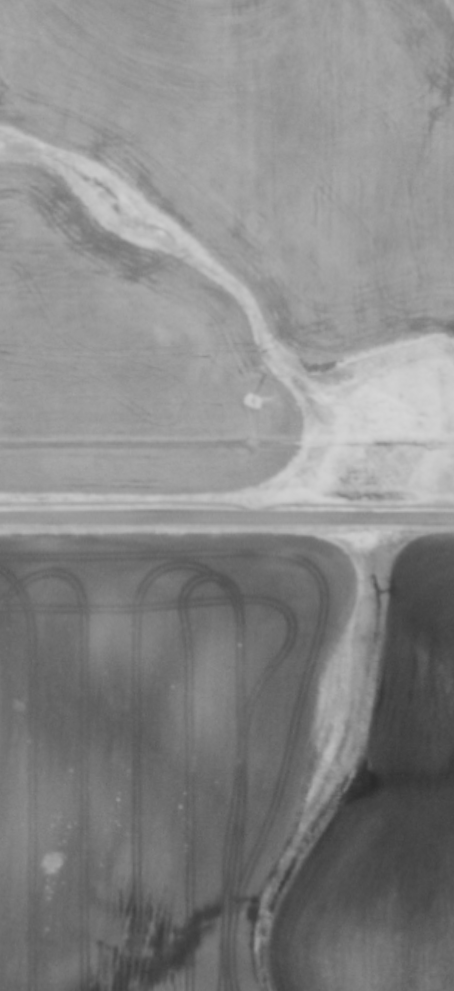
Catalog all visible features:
road: (227, 521)

